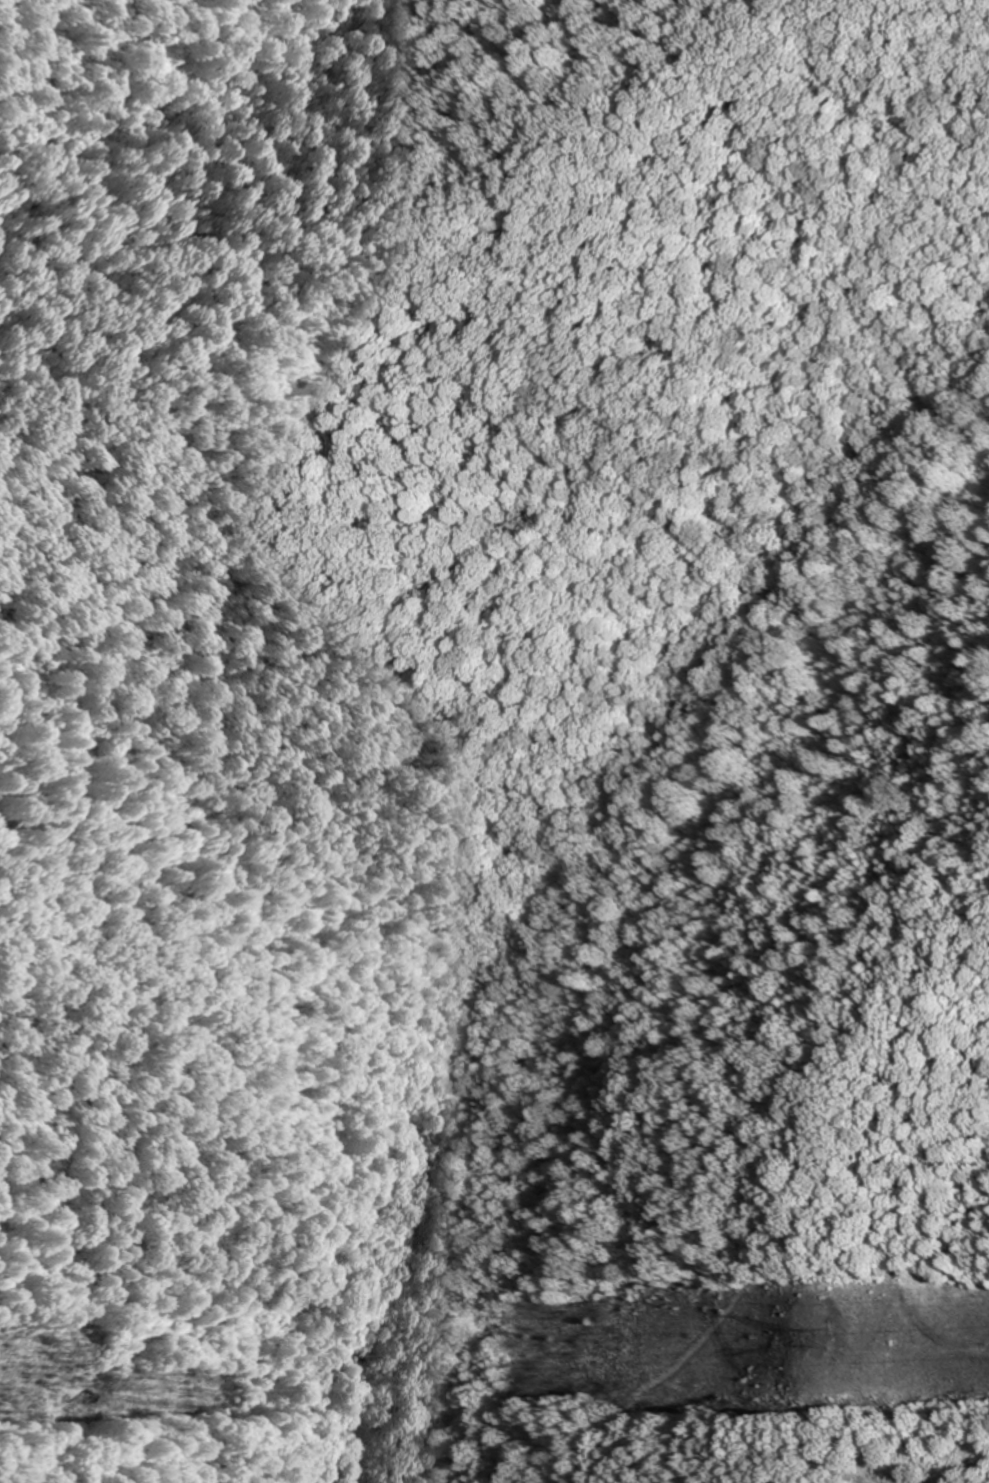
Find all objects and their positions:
power tower: (809, 1333)

